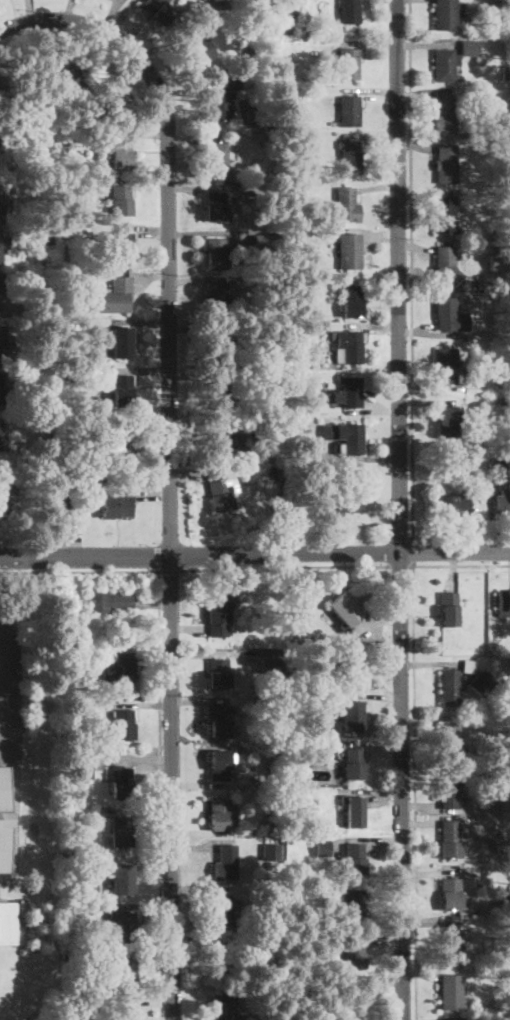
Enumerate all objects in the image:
building: (320, 4)
road: (30, 10)
road: (71, 10)
building: (158, 10)
building: (349, 12)
road: (110, 15)
building: (226, 15)
building: (445, 15)
road: (120, 17)
building: (471, 27)
building: (314, 28)
road: (356, 43)
road: (427, 43)
road: (89, 48)
building: (193, 48)
building: (468, 48)
road: (157, 53)
building: (288, 63)
building: (348, 64)
building: (445, 66)
building: (60, 69)
building: (319, 78)
road: (189, 87)
road: (371, 91)
road: (429, 91)
building: (222, 96)
building: (106, 101)
road: (137, 109)
building: (348, 112)
building: (443, 113)
road: (140, 133)
road: (370, 136)
road: (195, 138)
building: (62, 139)
building: (78, 139)
road: (415, 146)
building: (306, 149)
building: (118, 154)
building: (349, 156)
building: (218, 158)
building: (445, 164)
road: (145, 184)
road: (209, 187)
building: (291, 188)
road: (378, 188)
road: (428, 191)
building: (255, 193)
building: (245, 196)
building: (2, 198)
building: (122, 201)
building: (345, 205)
building: (216, 206)
building: (68, 211)
building: (45, 213)
building: (444, 215)
road: (143, 227)
building: (65, 229)
road: (212, 233)
road: (381, 234)
building: (294, 238)
building: (49, 240)
building: (264, 242)
building: (3, 245)
road: (415, 245)
building: (122, 248)
building: (349, 251)
building: (215, 254)
building: (319, 258)
building: (496, 263)
building: (444, 265)
building: (312, 268)
road: (411, 270)
road: (152, 274)
road: (398, 276)
road: (196, 278)
road: (372, 279)
building: (1, 283)
building: (14, 287)
building: (112, 297)
building: (468, 297)
building: (216, 300)
building: (351, 301)
building: (0, 303)
building: (283, 315)
building: (450, 316)
road: (142, 321)
building: (334, 325)
building: (294, 327)
road: (367, 327)
building: (282, 331)
road: (431, 332)
road: (186, 337)
building: (2, 339)
building: (121, 343)
building: (348, 345)
building: (292, 348)
building: (216, 351)
building: (314, 361)
building: (447, 366)
road: (141, 370)
road: (186, 383)
building: (122, 391)
building: (5, 392)
building: (348, 392)
building: (46, 395)
building: (217, 397)
building: (252, 399)
road: (426, 401)
building: (280, 412)
building: (331, 412)
road: (371, 412)
road: (144, 417)
building: (448, 421)
road: (186, 428)
building: (0, 430)
building: (241, 434)
building: (122, 437)
building: (343, 437)
building: (219, 441)
building: (89, 447)
building: (245, 452)
building: (472, 453)
road: (369, 458)
road: (169, 460)
building: (502, 461)
building: (111, 469)
road: (187, 476)
building: (221, 492)
road: (147, 493)
building: (55, 502)
building: (502, 502)
building: (342, 503)
building: (452, 504)
building: (8, 505)
building: (116, 506)
road: (491, 520)
road: (76, 526)
road: (475, 526)
road: (358, 534)
road: (412, 553)
road: (455, 553)
road: (200, 555)
road: (157, 556)
road: (462, 564)
road: (284, 565)
road: (402, 565)
road: (79, 570)
road: (169, 570)
road: (450, 570)
building: (502, 602)
building: (110, 603)
road: (150, 603)
building: (344, 609)
building: (449, 609)
building: (218, 615)
road: (374, 621)
building: (69, 626)
road: (187, 629)
building: (77, 637)
road: (212, 652)
road: (152, 653)
building: (269, 655)
road: (430, 664)
building: (469, 666)
road: (2, 667)
parking lot: (10, 669)
building: (351, 670)
building: (123, 673)
building: (218, 674)
building: (481, 684)
building: (450, 687)
building: (506, 694)
road: (374, 695)
building: (247, 697)
road: (185, 702)
road: (141, 704)
building: (351, 714)
building: (217, 717)
road: (429, 719)
building: (123, 725)
building: (76, 737)
building: (448, 737)
road: (376, 741)
road: (132, 759)
building: (219, 763)
building: (354, 763)
building: (84, 766)
building: (502, 776)
building: (121, 782)
road: (202, 784)
road: (401, 786)
building: (449, 789)
road: (373, 792)
road: (414, 792)
road: (160, 794)
road: (19, 796)
road: (140, 810)
building: (269, 810)
building: (355, 812)
building: (221, 813)
building: (6, 818)
road: (427, 819)
building: (315, 825)
building: (121, 831)
road: (201, 831)
building: (76, 835)
road: (373, 839)
building: (449, 840)
road: (212, 841)
building: (322, 848)
building: (271, 851)
road: (141, 858)
building: (354, 859)
building: (227, 862)
road: (428, 873)
building: (120, 878)
road: (377, 885)
building: (89, 886)
road: (200, 889)
building: (452, 895)
building: (355, 905)
road: (145, 907)
building: (221, 910)
road: (428, 920)
building: (8, 922)
building: (123, 926)
road: (380, 931)
building: (65, 939)
road: (190, 941)
building: (451, 943)
building: (353, 952)
building: (277, 955)
road: (154, 960)
building: (222, 960)
road: (428, 971)
building: (125, 974)
road: (380, 981)
building: (450, 992)
building: (84, 1001)
building: (353, 1001)
road: (152, 1002)
building: (222, 1007)
building: (123, 1008)
road: (430, 1019)

